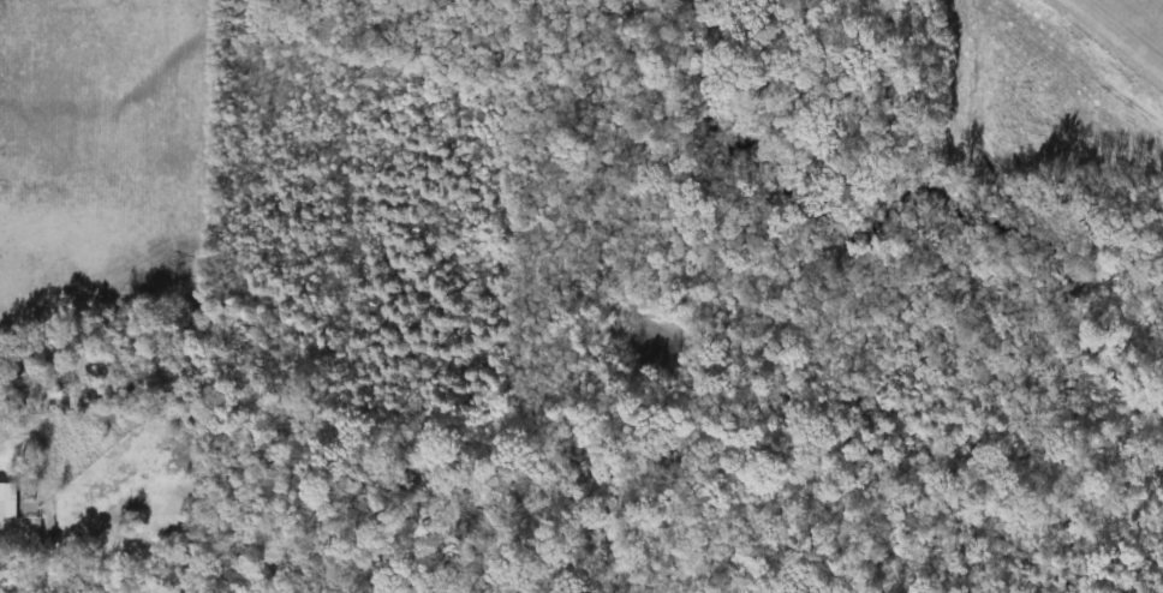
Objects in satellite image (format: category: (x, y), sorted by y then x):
building: (6, 501)

